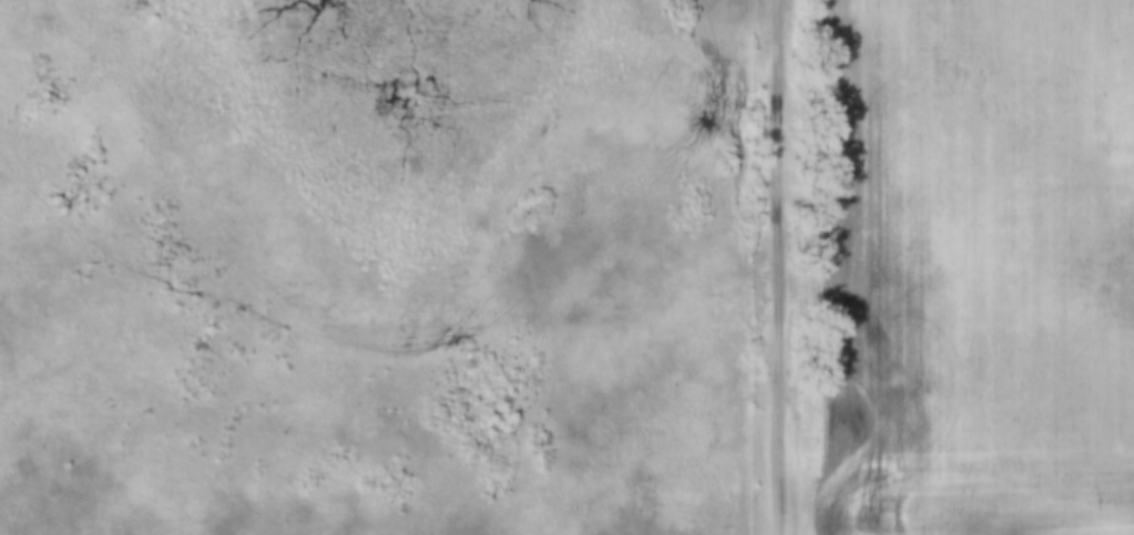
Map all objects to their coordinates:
road: (778, 267)

